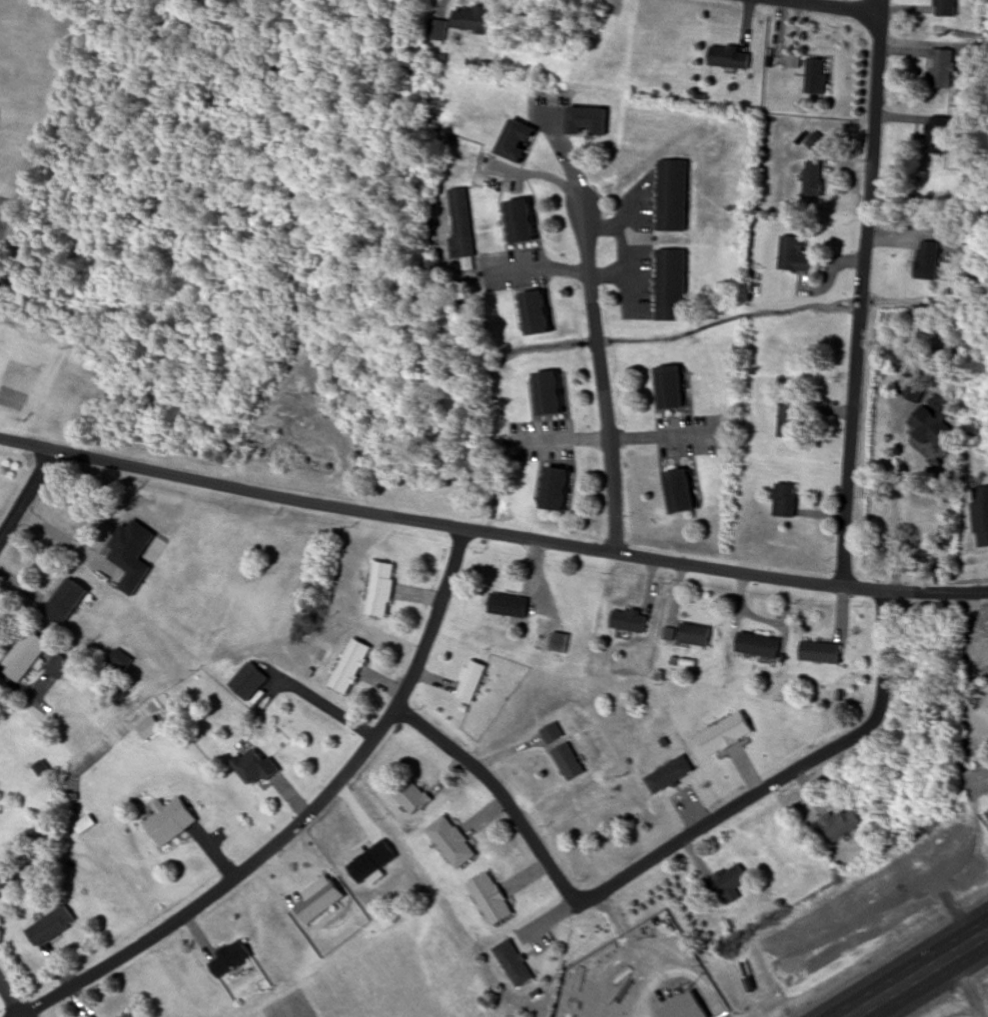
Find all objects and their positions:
road: (832, 7)
building: (946, 8)
building: (470, 20)
road: (882, 25)
building: (436, 31)
building: (730, 59)
building: (942, 70)
building: (816, 77)
building: (587, 122)
building: (938, 137)
building: (516, 142)
building: (812, 180)
building: (672, 197)
park: (4, 217)
building: (521, 223)
building: (460, 225)
building: (794, 256)
building: (927, 261)
building: (671, 287)
building: (537, 315)
road: (861, 319)
road: (604, 383)
building: (670, 389)
building: (914, 392)
building: (549, 395)
building: (789, 422)
building: (931, 428)
building: (556, 490)
building: (681, 491)
road: (28, 498)
building: (784, 500)
road: (491, 533)
road: (450, 580)
building: (381, 589)
building: (66, 601)
building: (507, 608)
building: (629, 621)
building: (693, 635)
building: (757, 645)
building: (820, 652)
building: (25, 655)
building: (121, 662)
building: (57, 666)
building: (351, 668)
building: (470, 680)
building: (250, 684)
building: (149, 728)
building: (552, 733)
building: (726, 736)
building: (568, 762)
building: (254, 767)
road: (787, 777)
building: (667, 778)
road: (502, 794)
building: (410, 796)
building: (170, 820)
building: (839, 824)
building: (450, 842)
road: (262, 857)
building: (725, 882)
building: (490, 899)
building: (50, 926)
building: (229, 959)
building: (513, 963)
road: (921, 976)
road: (11, 999)
building: (689, 1009)
building: (127, 1015)

